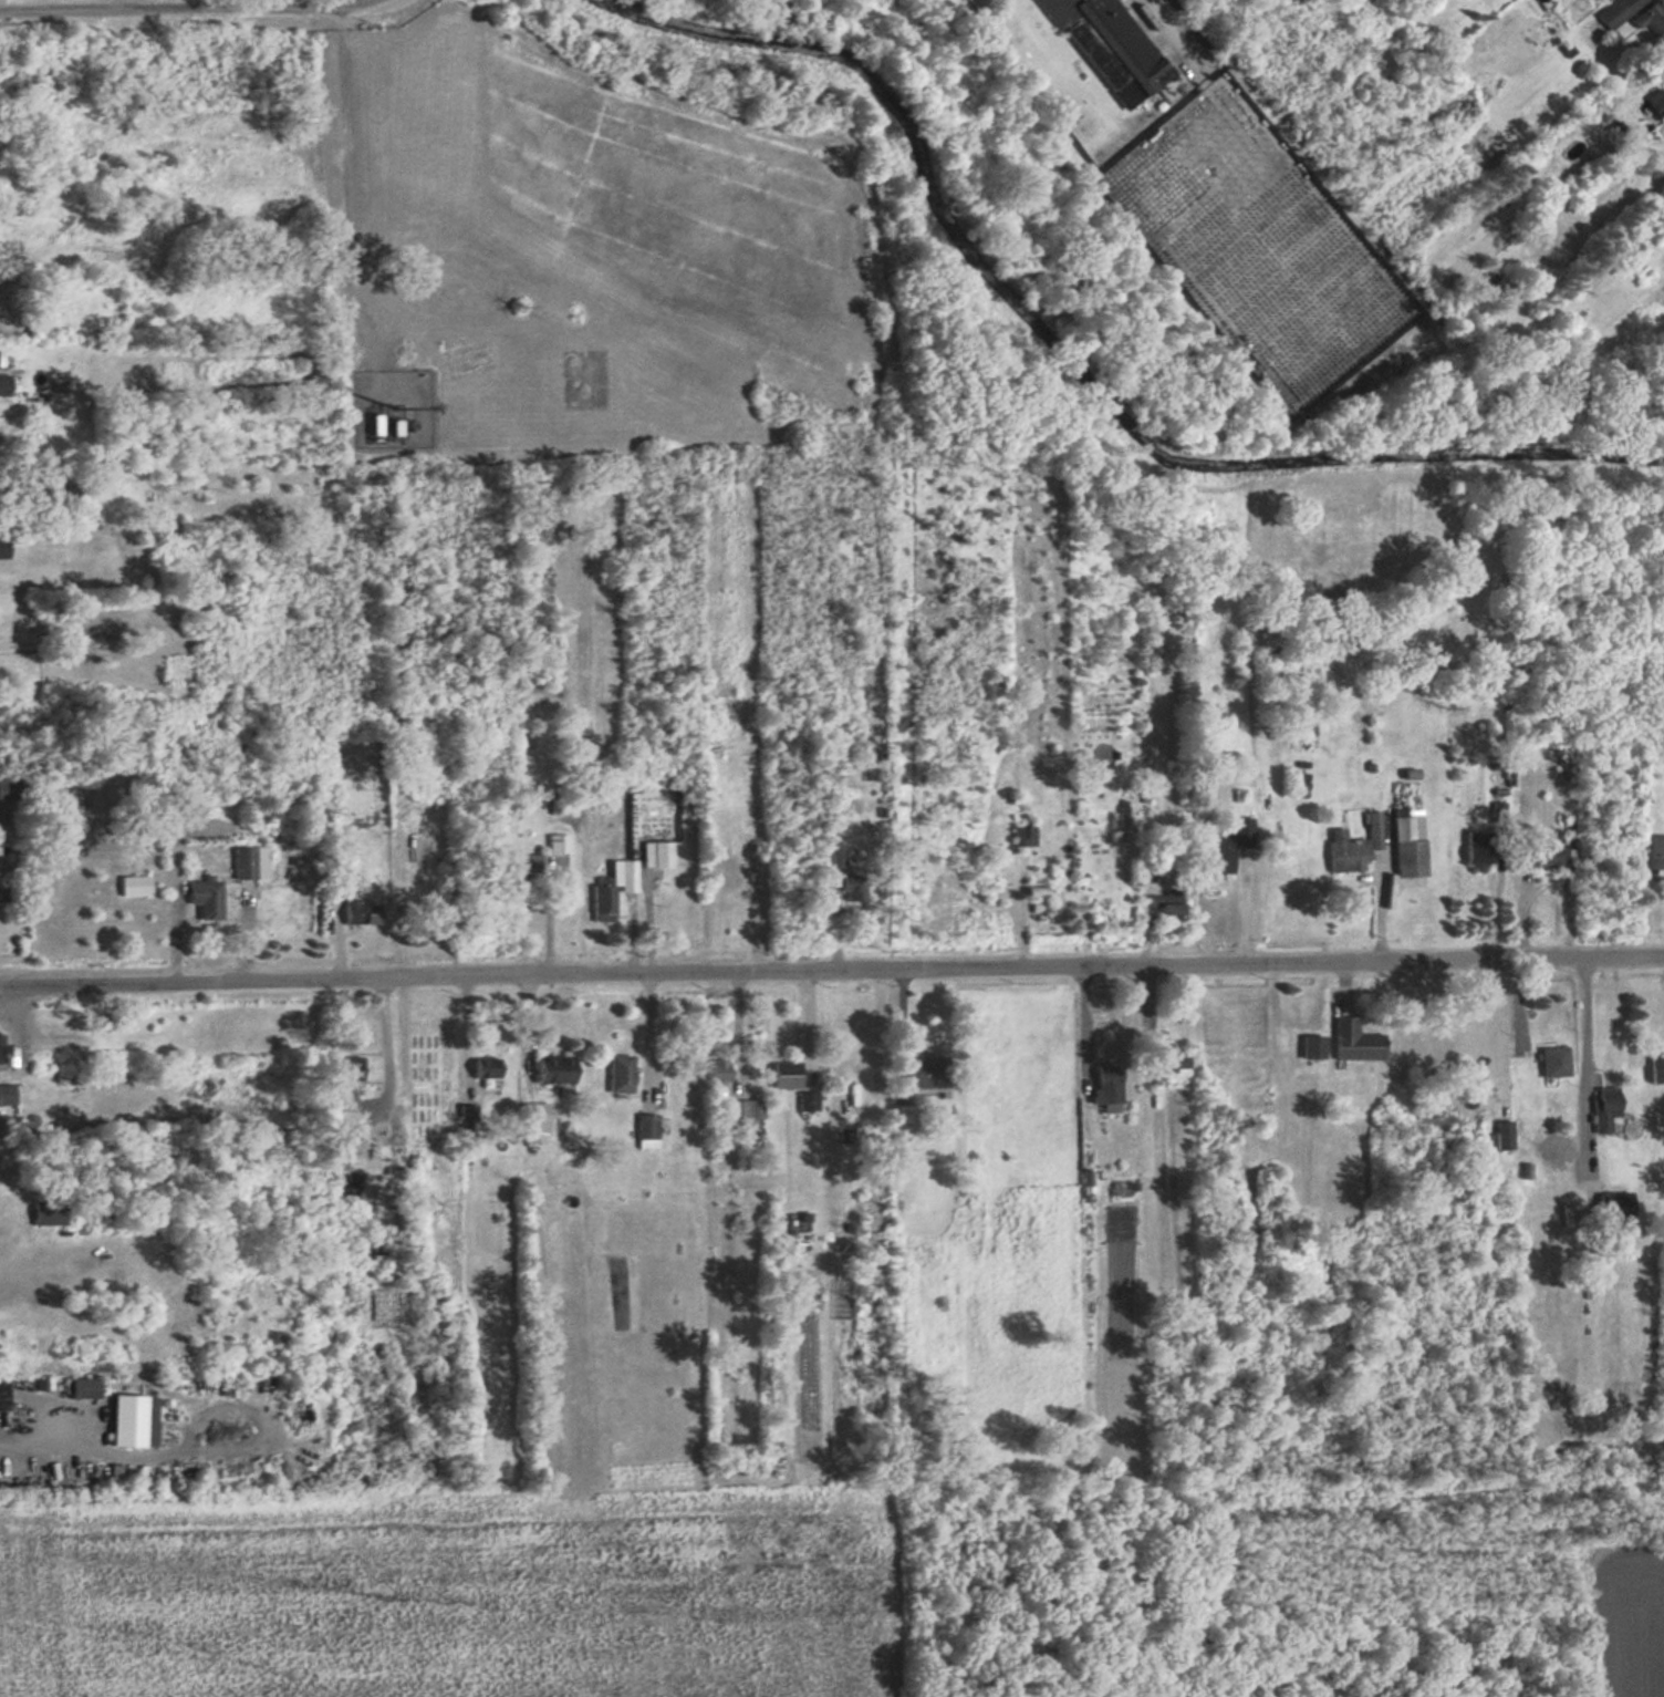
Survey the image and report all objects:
building: (1604, 1)
road: (183, 8)
building: (1615, 11)
building: (1647, 19)
building: (1110, 50)
road: (419, 231)
building: (3, 385)
building: (371, 425)
building: (1, 548)
building: (13, 790)
building: (1021, 837)
building: (557, 845)
building: (1406, 846)
building: (1351, 847)
building: (654, 856)
building: (1655, 856)
building: (1541, 858)
building: (1214, 859)
building: (247, 863)
building: (528, 867)
building: (339, 875)
building: (132, 886)
building: (611, 890)
building: (852, 890)
building: (201, 899)
building: (1161, 906)
road: (831, 968)
road: (1082, 1023)
building: (1354, 1042)
building: (1310, 1046)
road: (386, 1048)
building: (0, 1053)
building: (1167, 1057)
building: (1551, 1060)
building: (483, 1068)
building: (1654, 1069)
building: (552, 1070)
building: (346, 1072)
building: (716, 1074)
building: (925, 1074)
building: (616, 1075)
building: (782, 1075)
building: (1102, 1089)
building: (6, 1094)
building: (805, 1103)
building: (1602, 1108)
building: (535, 1113)
building: (740, 1116)
building: (902, 1119)
building: (644, 1131)
building: (1502, 1135)
building: (1554, 1144)
building: (1610, 1204)
building: (42, 1213)
building: (1, 1394)
building: (129, 1420)

